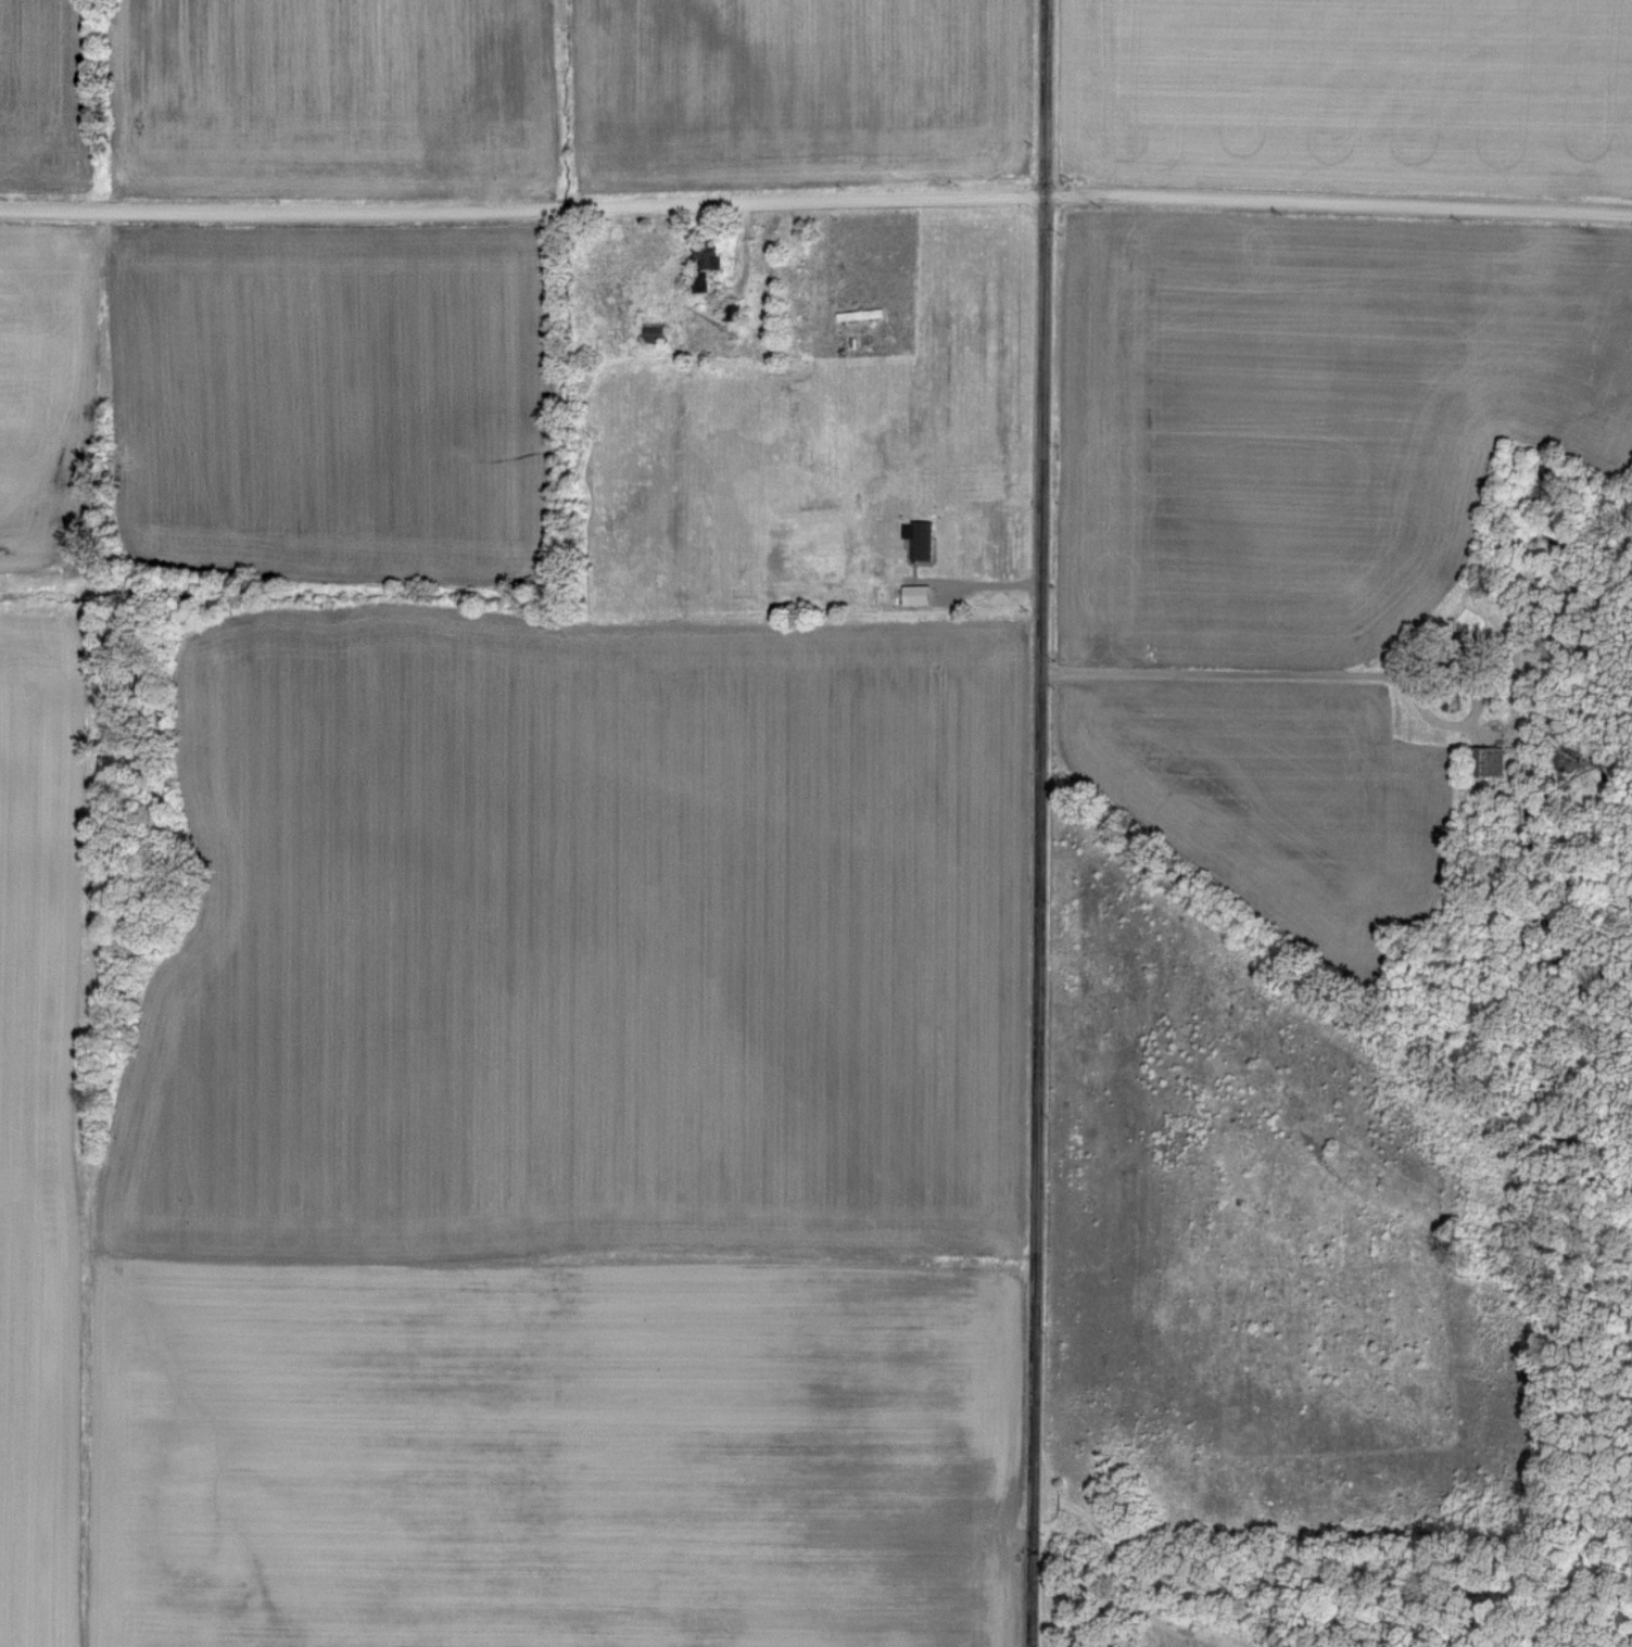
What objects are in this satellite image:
road: (1046, 99)
road: (1339, 203)
road: (522, 208)
road: (976, 580)
building: (915, 593)
road: (1217, 673)
road: (1040, 923)

